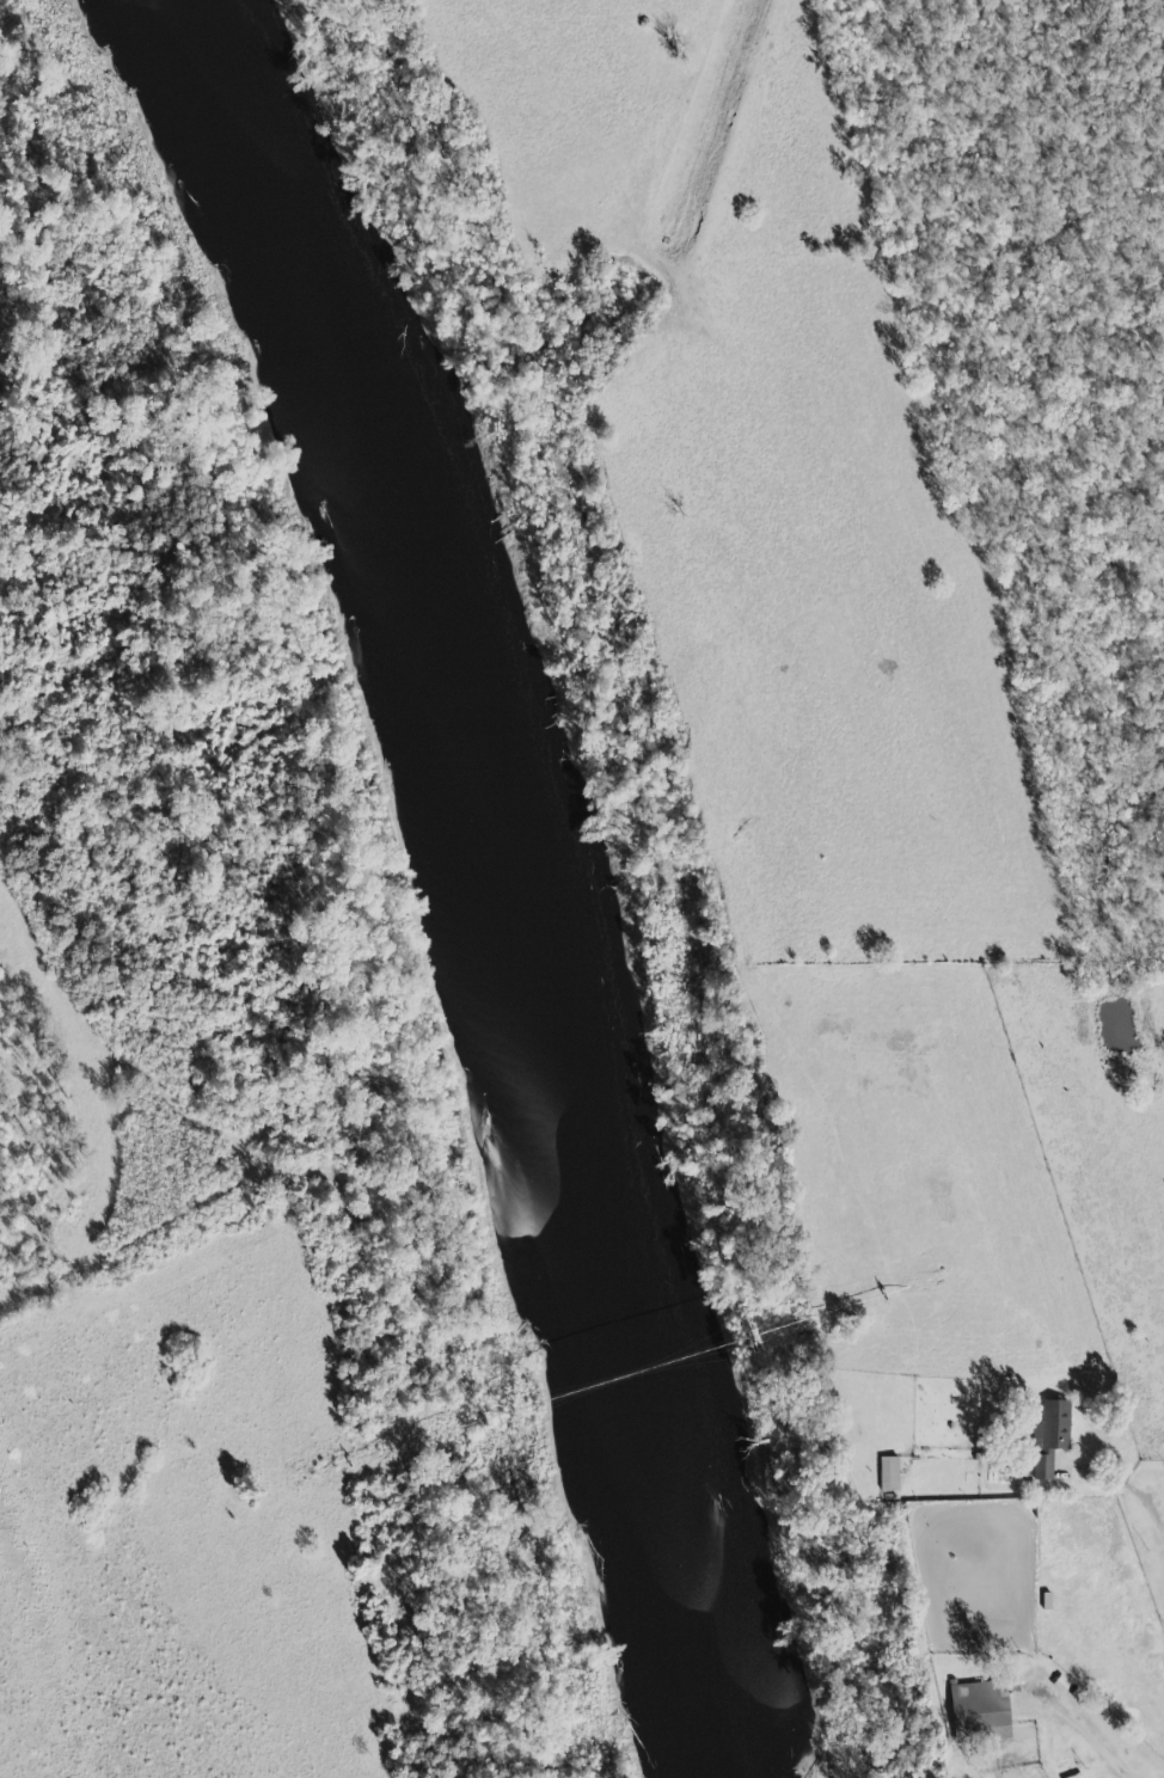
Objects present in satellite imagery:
road: (685, 845)
river: (497, 867)
building: (1050, 1436)
building: (889, 1474)
road: (1134, 1495)
building: (981, 1709)
road: (1085, 1731)

